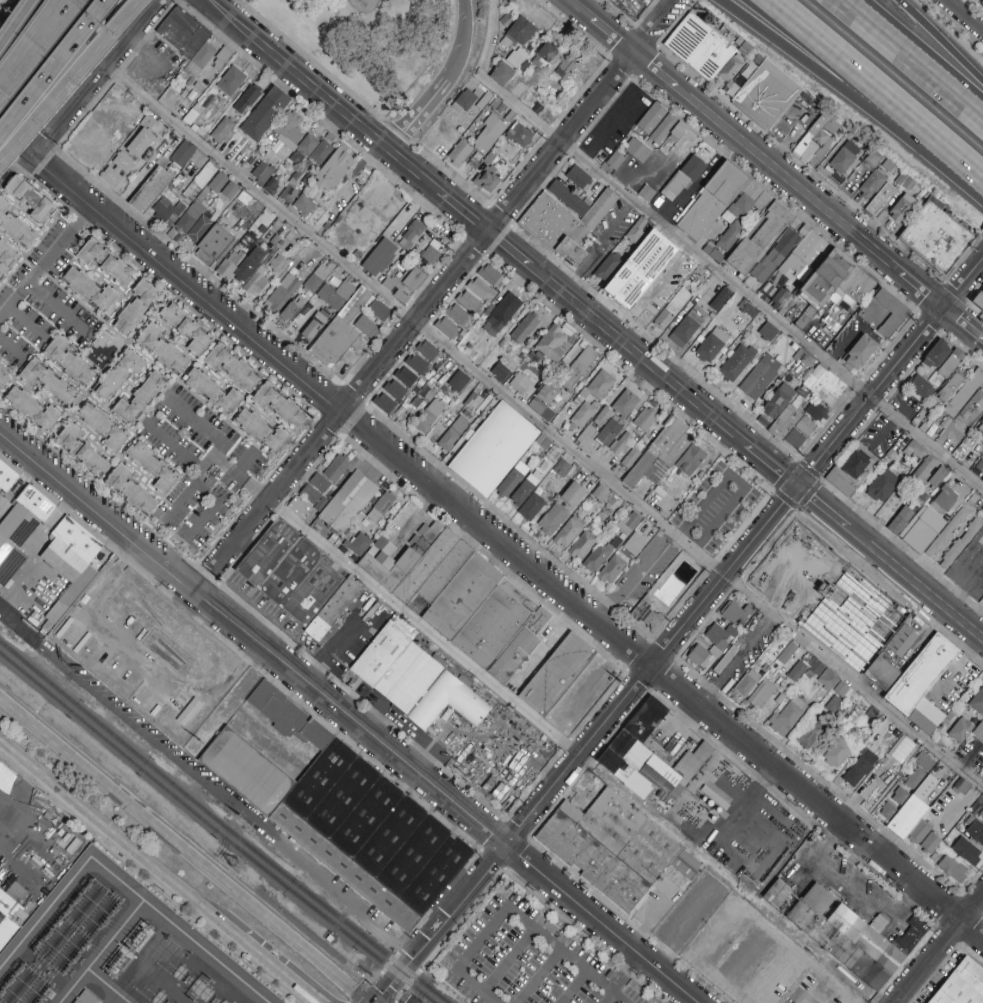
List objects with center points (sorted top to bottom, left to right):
road: (64, 6)
road: (66, 6)
road: (964, 15)
road: (16, 23)
building: (518, 30)
building: (184, 35)
road: (463, 40)
park: (372, 41)
road: (941, 42)
road: (30, 49)
building: (704, 50)
road: (146, 53)
building: (218, 57)
building: (546, 57)
road: (310, 59)
road: (909, 60)
road: (54, 67)
building: (565, 69)
road: (298, 74)
building: (502, 74)
road: (839, 74)
road: (865, 74)
road: (96, 75)
road: (72, 79)
building: (231, 81)
road: (433, 93)
building: (766, 95)
building: (246, 100)
building: (465, 100)
building: (265, 114)
building: (651, 118)
building: (789, 124)
road: (404, 128)
building: (222, 129)
road: (395, 129)
building: (668, 130)
building: (488, 134)
road: (543, 135)
building: (818, 138)
building: (141, 139)
building: (300, 139)
building: (515, 139)
road: (15, 140)
building: (637, 150)
building: (180, 152)
building: (459, 154)
road: (969, 159)
building: (872, 160)
building: (615, 161)
building: (842, 166)
building: (118, 170)
building: (334, 171)
road: (775, 171)
building: (261, 173)
building: (580, 178)
building: (683, 178)
building: (486, 181)
building: (165, 183)
building: (218, 183)
building: (289, 184)
building: (871, 185)
building: (145, 190)
building: (230, 191)
building: (646, 194)
building: (30, 199)
building: (878, 201)
building: (714, 203)
building: (304, 206)
building: (902, 208)
road: (411, 210)
building: (167, 212)
building: (595, 218)
building: (550, 222)
building: (15, 227)
building: (637, 230)
building: (411, 234)
building: (762, 240)
building: (939, 241)
building: (214, 247)
building: (304, 253)
building: (573, 254)
road: (702, 254)
building: (429, 255)
building: (7, 257)
building: (379, 258)
building: (242, 259)
road: (46, 261)
building: (626, 261)
building: (775, 262)
building: (107, 263)
building: (277, 263)
building: (802, 269)
building: (320, 275)
building: (490, 275)
building: (258, 285)
building: (405, 285)
building: (861, 288)
building: (480, 289)
building: (91, 291)
building: (281, 294)
building: (334, 294)
road: (438, 294)
building: (640, 294)
building: (719, 298)
building: (978, 299)
building: (469, 302)
road: (58, 308)
building: (136, 309)
building: (672, 309)
building: (748, 309)
building: (291, 311)
building: (380, 312)
building: (500, 315)
building: (887, 315)
road: (26, 321)
building: (454, 321)
building: (314, 326)
building: (688, 326)
building: (367, 327)
building: (525, 328)
building: (187, 329)
building: (768, 332)
building: (341, 334)
road: (441, 338)
building: (101, 341)
building: (549, 345)
building: (711, 345)
building: (162, 349)
building: (428, 351)
building: (854, 351)
road: (11, 352)
building: (862, 355)
building: (935, 356)
building: (68, 361)
building: (737, 362)
building: (417, 364)
building: (233, 367)
building: (579, 368)
building: (499, 371)
building: (119, 374)
building: (950, 374)
building: (407, 377)
building: (760, 377)
building: (3, 381)
building: (48, 381)
building: (458, 381)
building: (521, 384)
building: (600, 386)
building: (920, 387)
building: (835, 388)
building: (213, 392)
road: (685, 393)
building: (964, 393)
building: (390, 397)
building: (140, 399)
building: (774, 399)
building: (545, 400)
building: (279, 405)
building: (782, 405)
building: (972, 407)
building: (31, 408)
building: (583, 415)
building: (429, 416)
building: (604, 416)
building: (645, 420)
building: (789, 424)
building: (809, 425)
building: (103, 426)
building: (980, 427)
building: (262, 432)
building: (453, 433)
building: (593, 433)
building: (949, 437)
building: (621, 443)
building: (494, 449)
building: (81, 450)
building: (915, 450)
building: (630, 458)
building: (662, 458)
building: (979, 466)
building: (154, 467)
building: (561, 469)
building: (930, 473)
building: (850, 474)
road: (242, 478)
building: (7, 480)
building: (324, 480)
building: (981, 480)
building: (882, 487)
building: (515, 488)
building: (131, 490)
building: (601, 493)
building: (573, 495)
building: (944, 499)
building: (296, 506)
building: (349, 506)
building: (532, 507)
building: (382, 508)
building: (553, 519)
building: (900, 520)
building: (628, 522)
building: (569, 532)
building: (21, 533)
building: (928, 534)
building: (358, 544)
road: (507, 544)
building: (635, 544)
building: (960, 544)
building: (582, 546)
building: (71, 552)
building: (599, 556)
building: (794, 557)
building: (423, 569)
building: (612, 570)
road: (812, 571)
building: (290, 575)
road: (763, 581)
road: (964, 585)
road: (837, 591)
building: (75, 593)
building: (464, 599)
road: (874, 606)
building: (642, 609)
building: (334, 611)
building: (733, 613)
road: (425, 626)
road: (681, 631)
building: (898, 640)
building: (718, 648)
building: (787, 654)
building: (384, 655)
road: (737, 659)
building: (795, 671)
building: (557, 673)
building: (885, 678)
building: (924, 678)
building: (828, 680)
building: (747, 683)
building: (842, 690)
building: (428, 693)
building: (761, 694)
road: (878, 700)
building: (977, 702)
power tower: (163, 705)
building: (835, 706)
building: (189, 712)
road: (351, 716)
building: (787, 716)
building: (925, 726)
building: (960, 730)
building: (811, 735)
building: (979, 736)
building: (899, 749)
building: (837, 752)
building: (652, 760)
building: (924, 761)
building: (860, 769)
road: (710, 772)
building: (959, 786)
building: (899, 795)
road: (744, 802)
building: (973, 807)
building: (957, 813)
building: (914, 814)
building: (980, 815)
railway: (220, 826)
railway: (214, 831)
building: (788, 831)
building: (975, 832)
power tower: (266, 835)
road: (120, 839)
building: (372, 840)
road: (9, 844)
building: (931, 844)
building: (615, 851)
road: (182, 852)
building: (966, 852)
building: (934, 855)
power tower: (242, 865)
building: (952, 868)
road: (849, 889)
building: (12, 891)
road: (506, 911)
road: (746, 912)
road: (644, 919)
building: (10, 922)
road: (681, 925)
building: (849, 937)
power substation: (124, 949)
road: (940, 949)
road: (747, 957)
road: (506, 961)
road: (279, 971)
road: (538, 977)
road: (617, 978)
road: (777, 978)
building: (963, 986)
road: (574, 987)
road: (811, 989)
building: (87, 998)
road: (610, 998)

